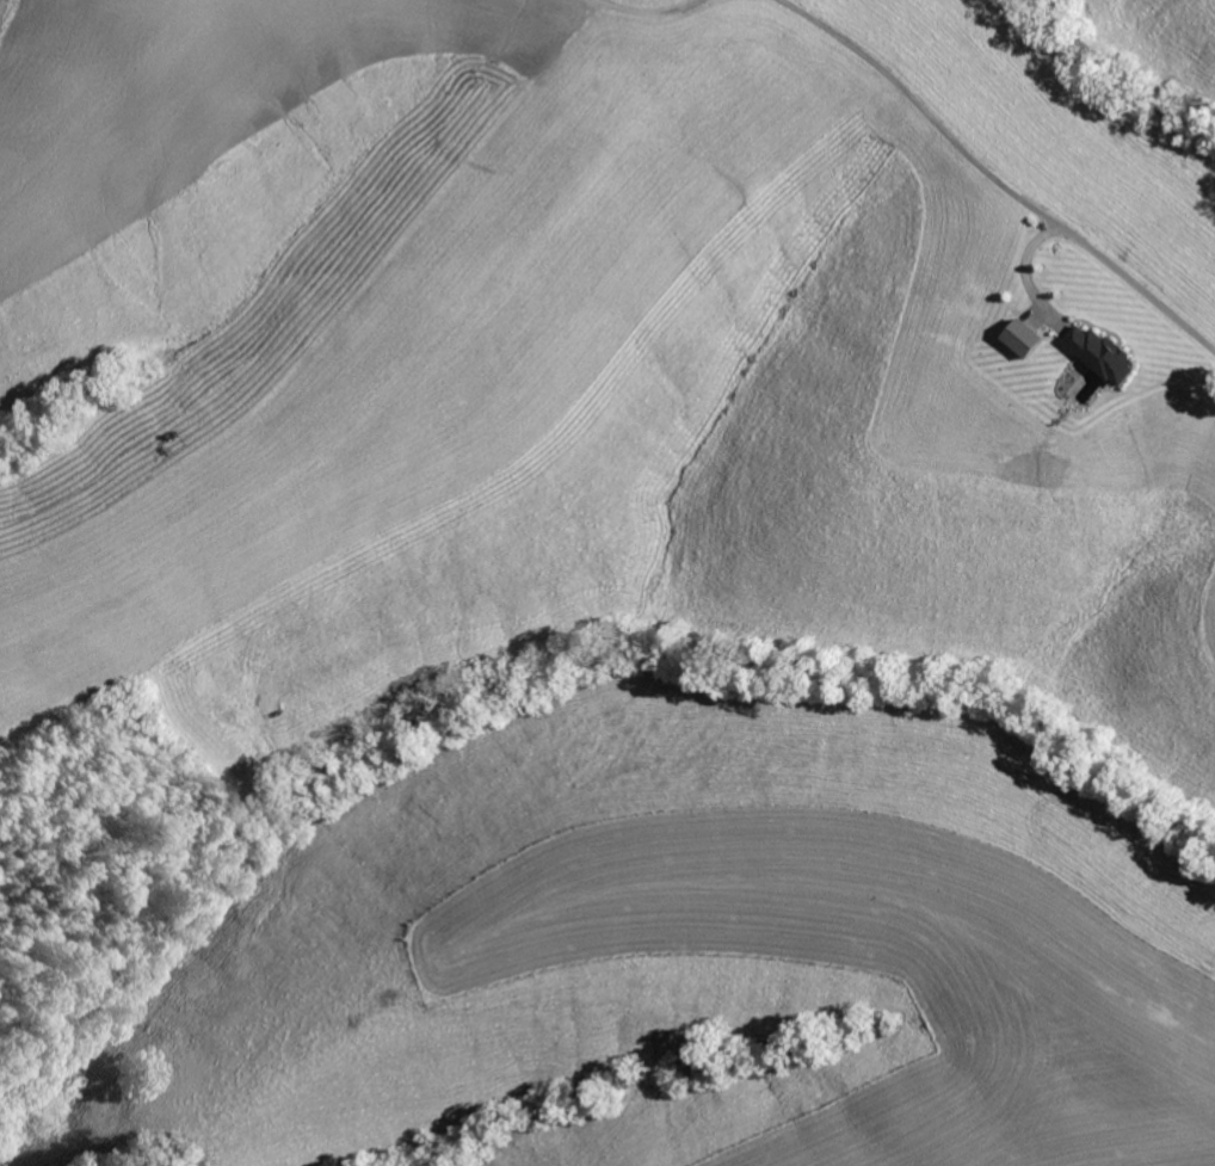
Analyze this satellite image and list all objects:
building: (1026, 337)
building: (1108, 352)

